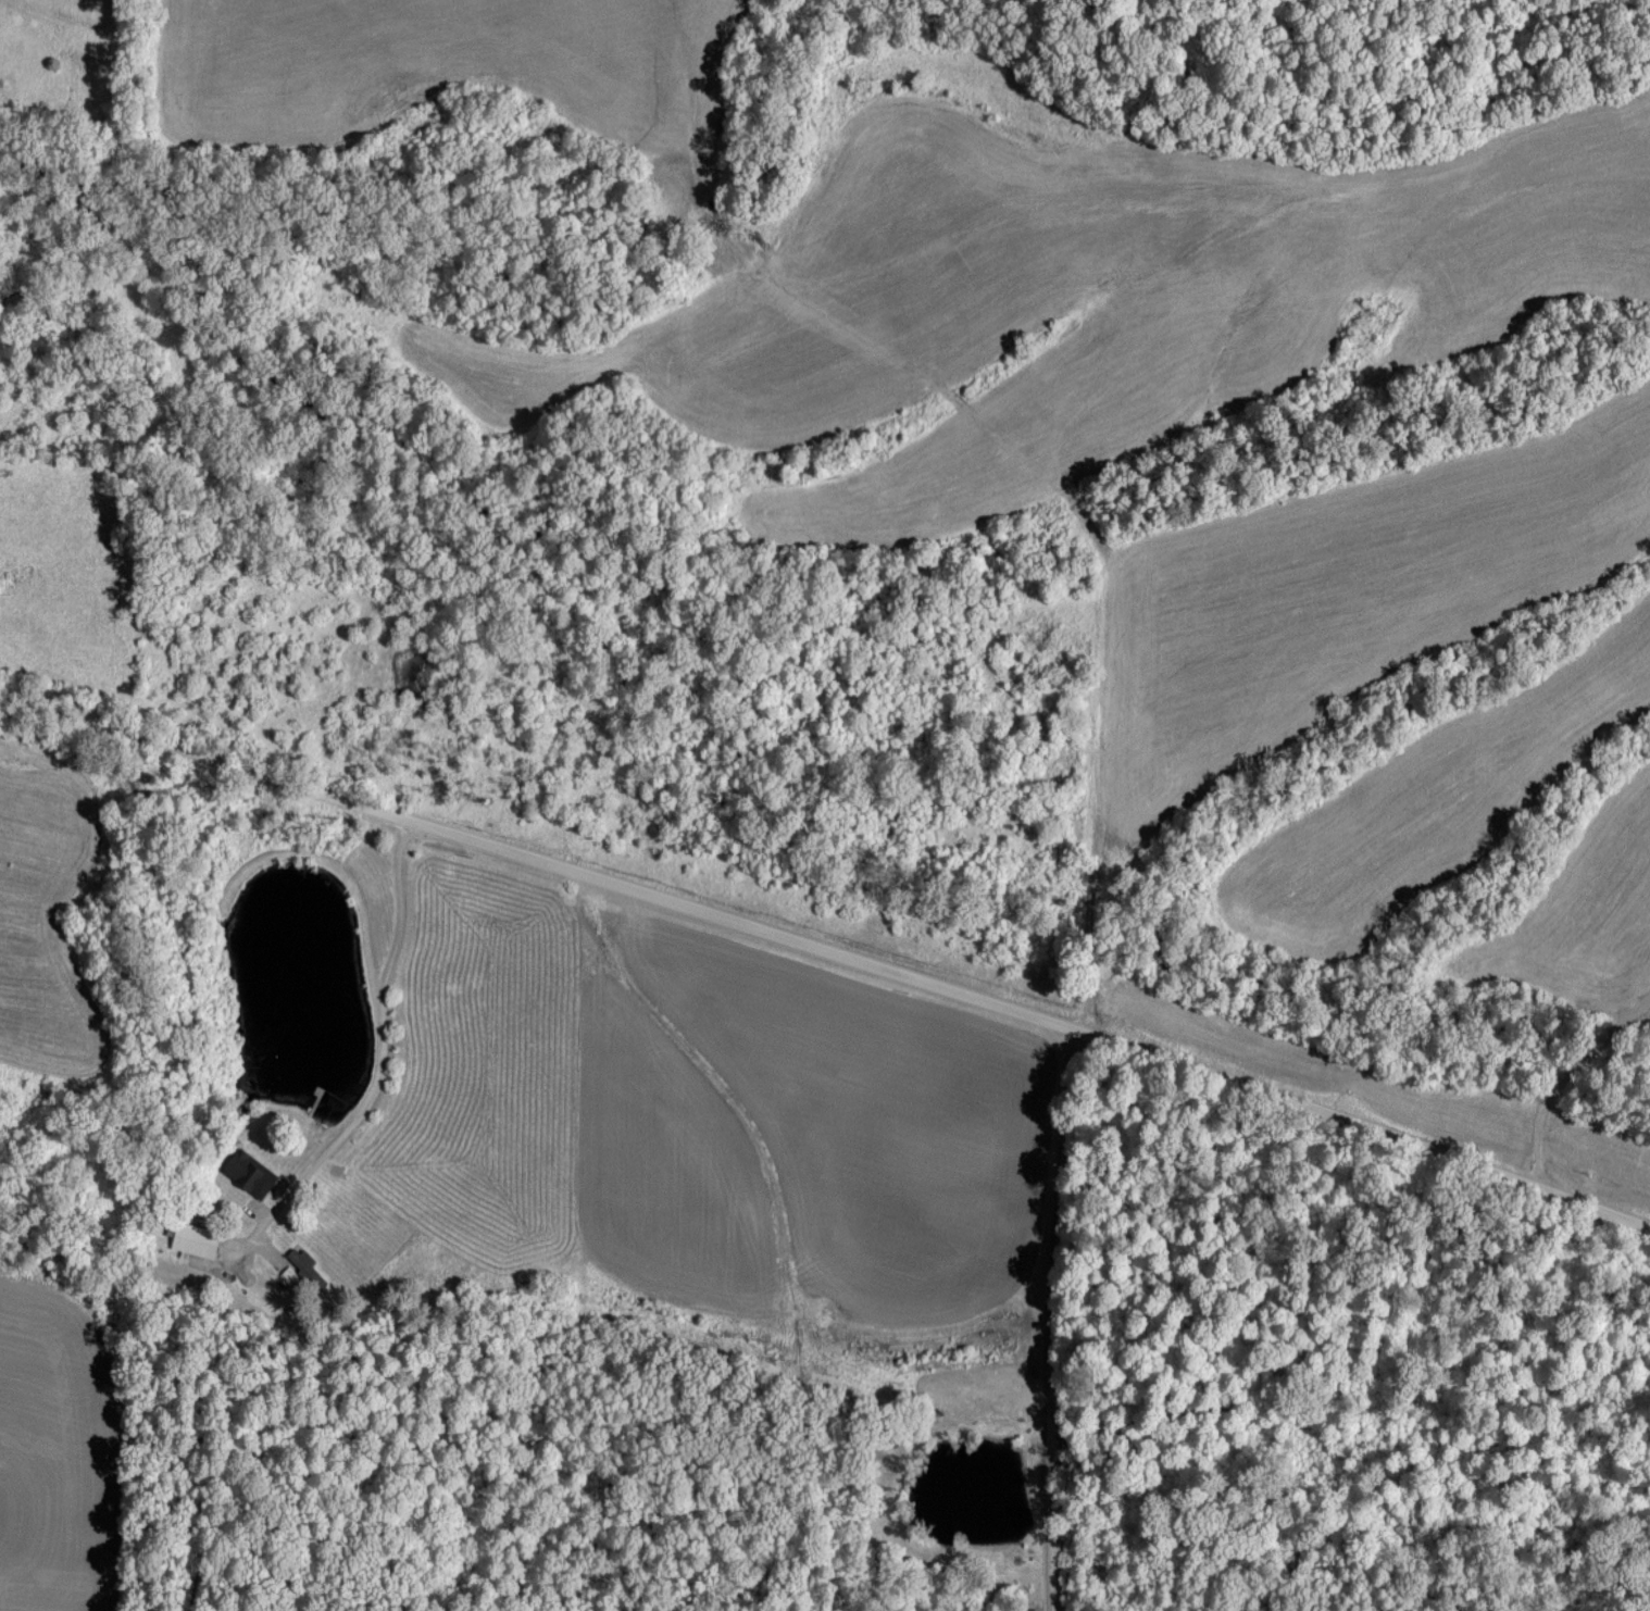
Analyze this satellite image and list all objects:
road: (828, 951)
building: (250, 1174)

